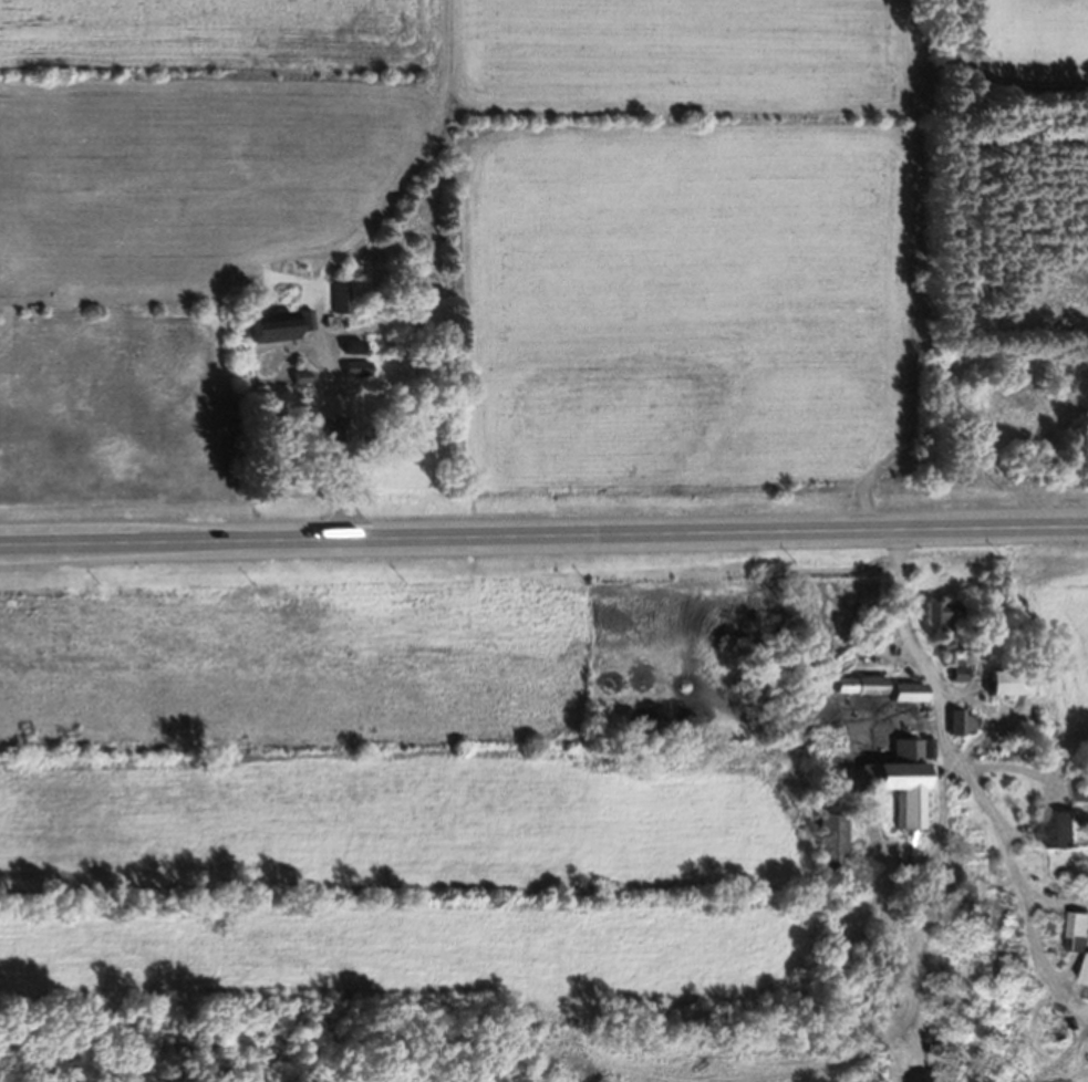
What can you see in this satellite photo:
building: (274, 334)
road: (330, 443)
road: (543, 541)
building: (933, 621)
building: (952, 684)
building: (849, 695)
building: (985, 697)
building: (898, 701)
building: (959, 734)
road: (963, 771)
building: (894, 792)
building: (1056, 840)

